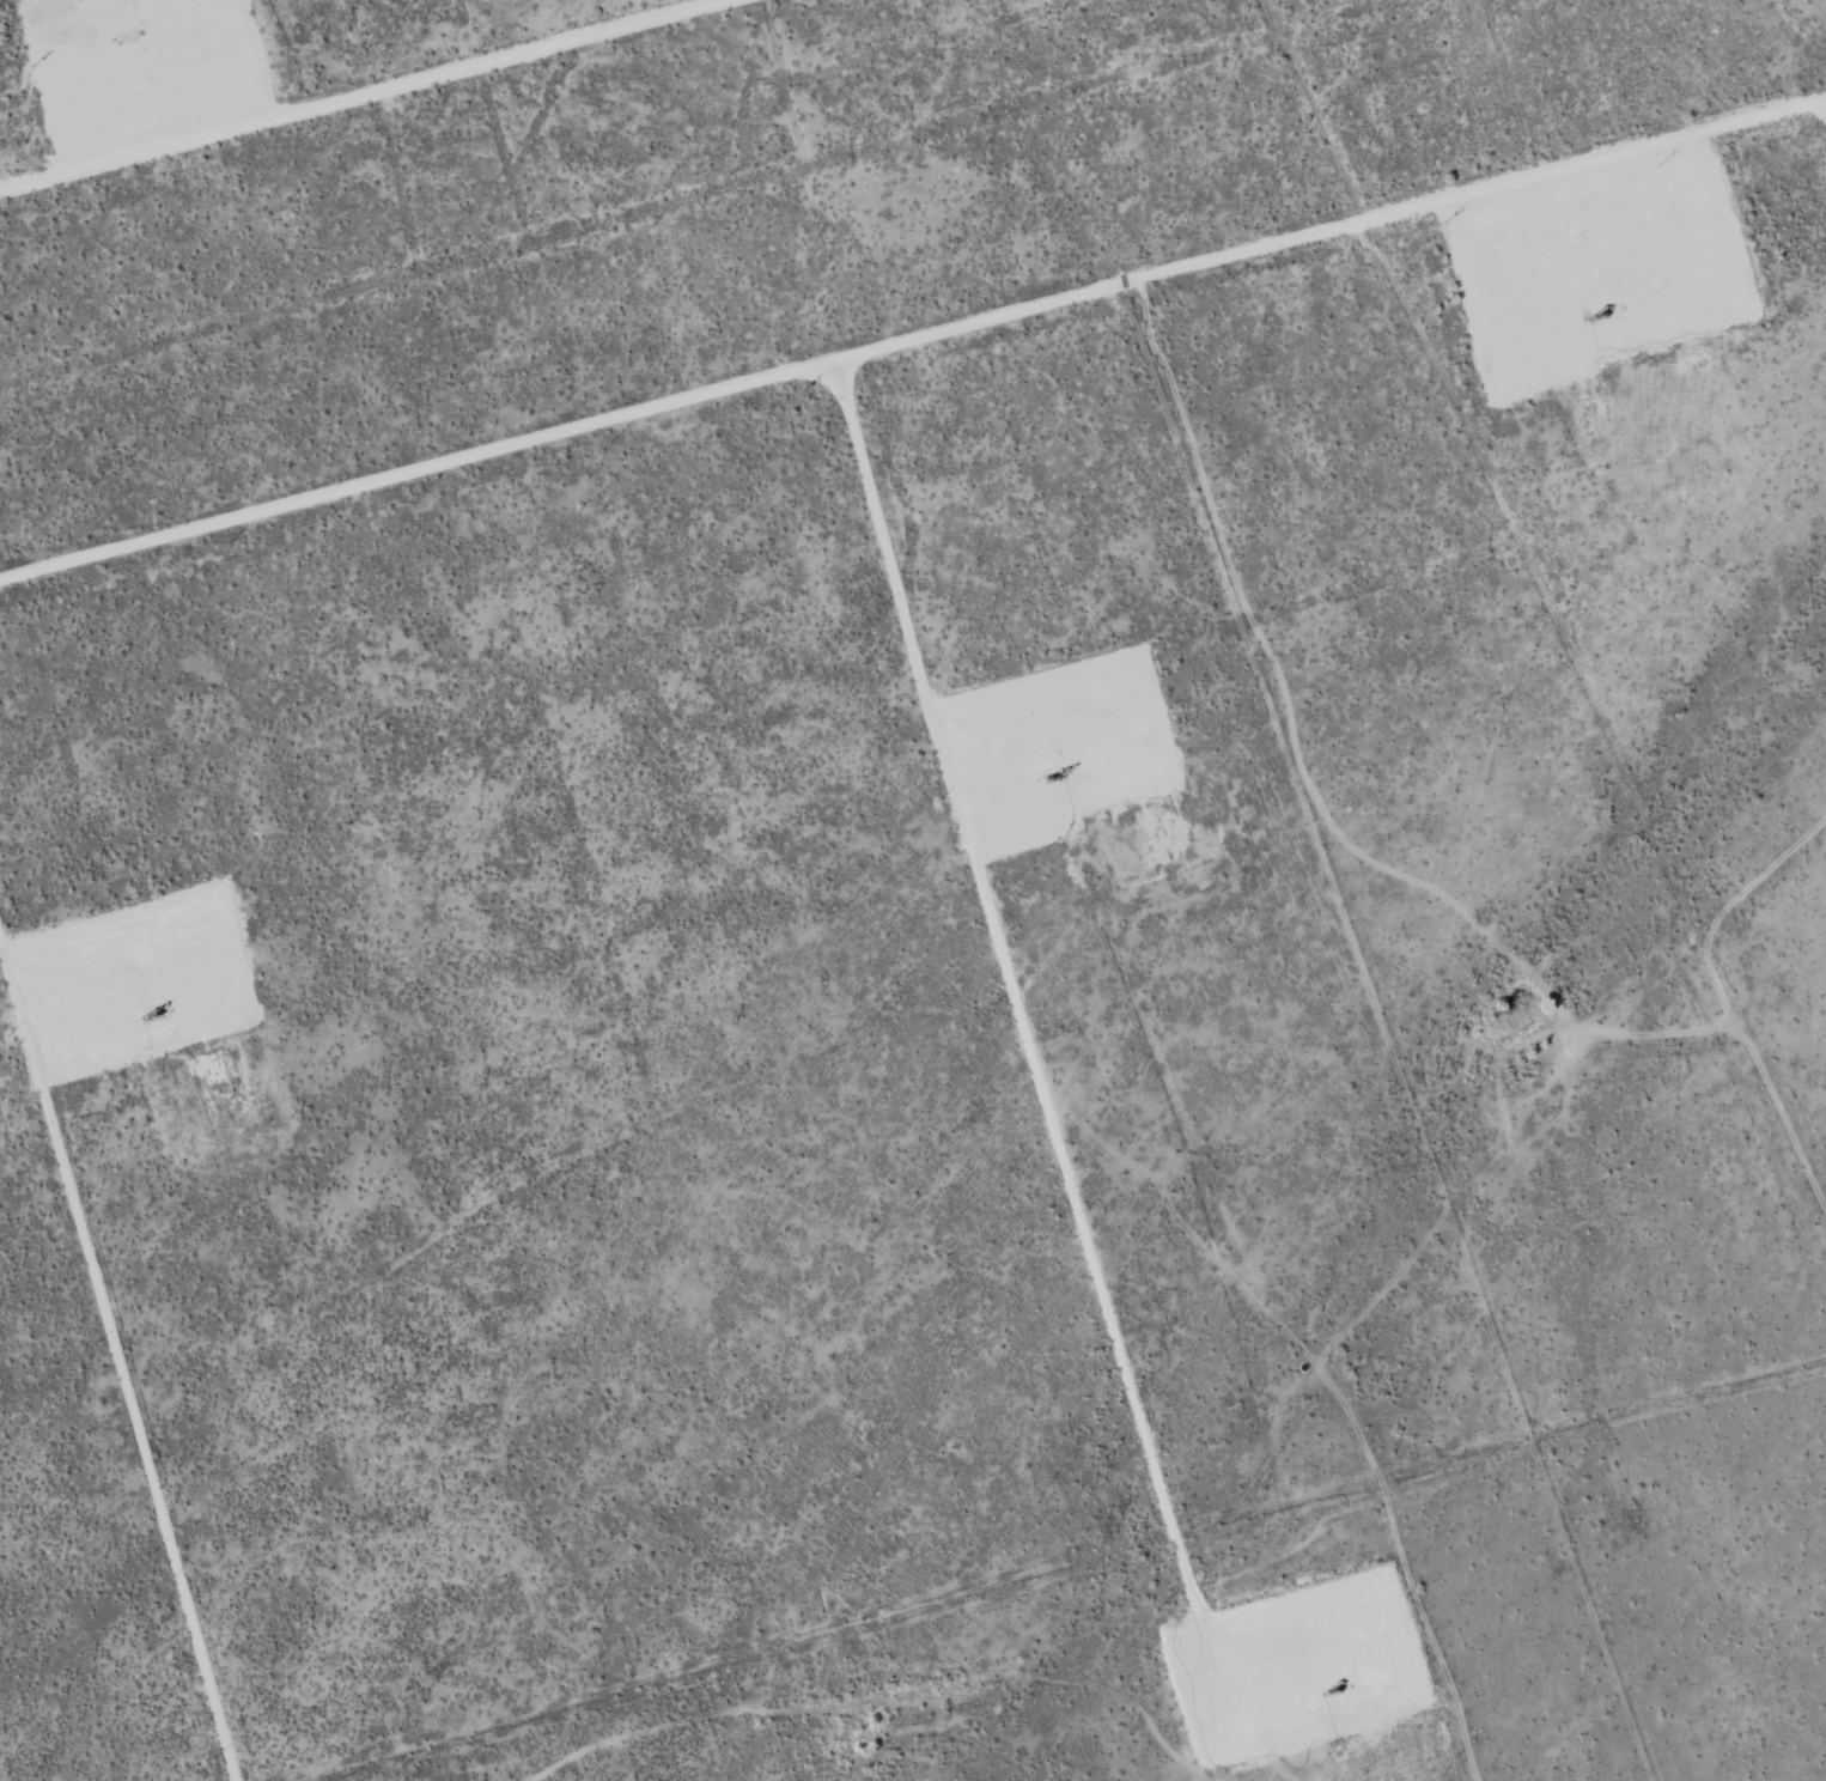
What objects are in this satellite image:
road: (913, 339)

